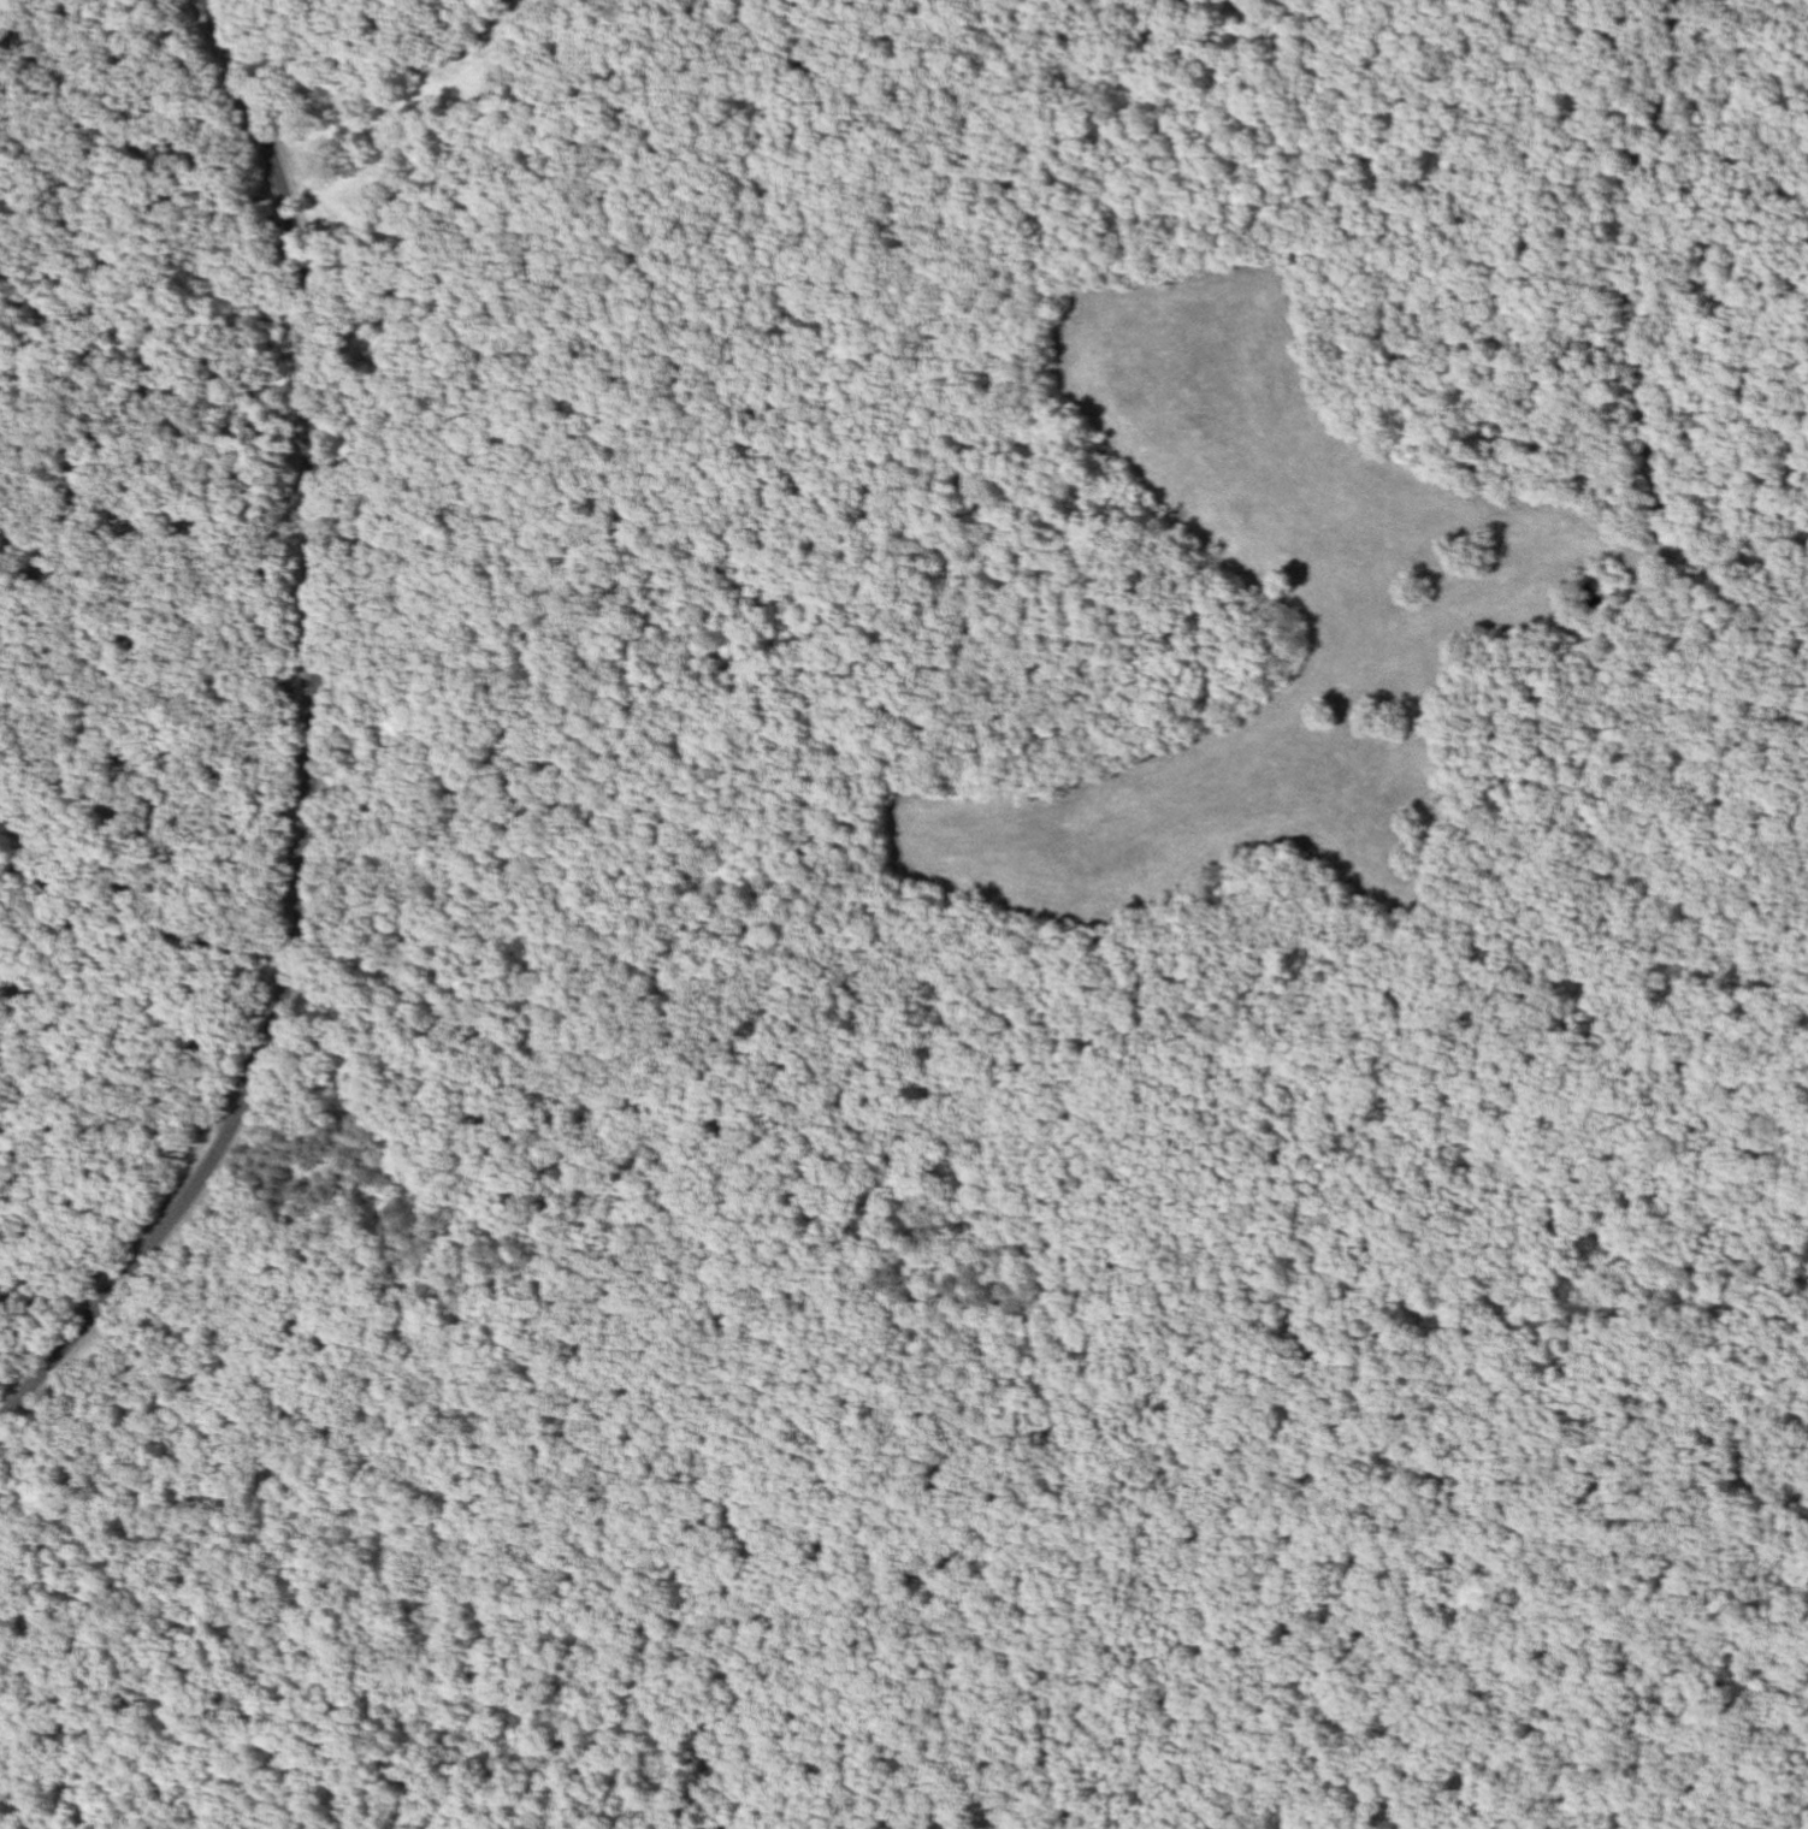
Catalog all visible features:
road: (1637, 344)
road: (313, 748)

